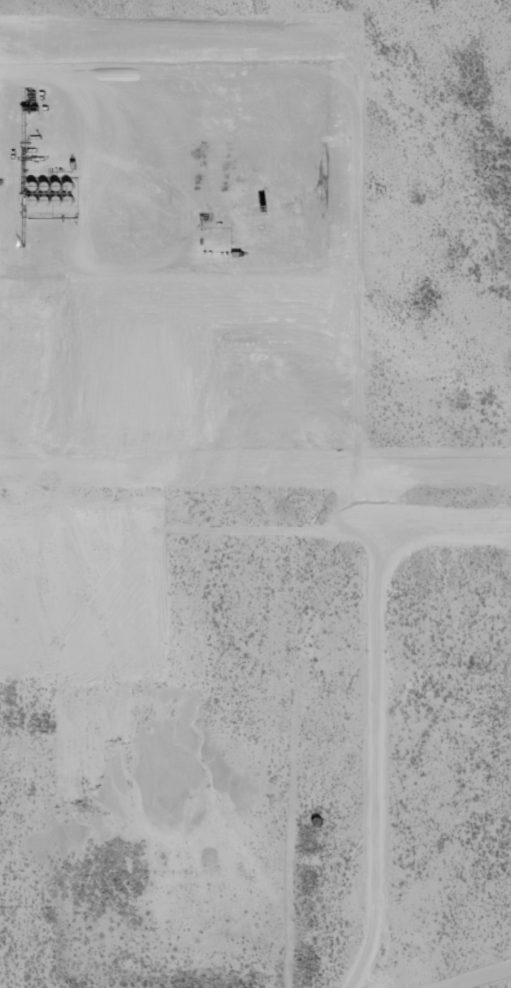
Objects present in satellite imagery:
road: (225, 13)

